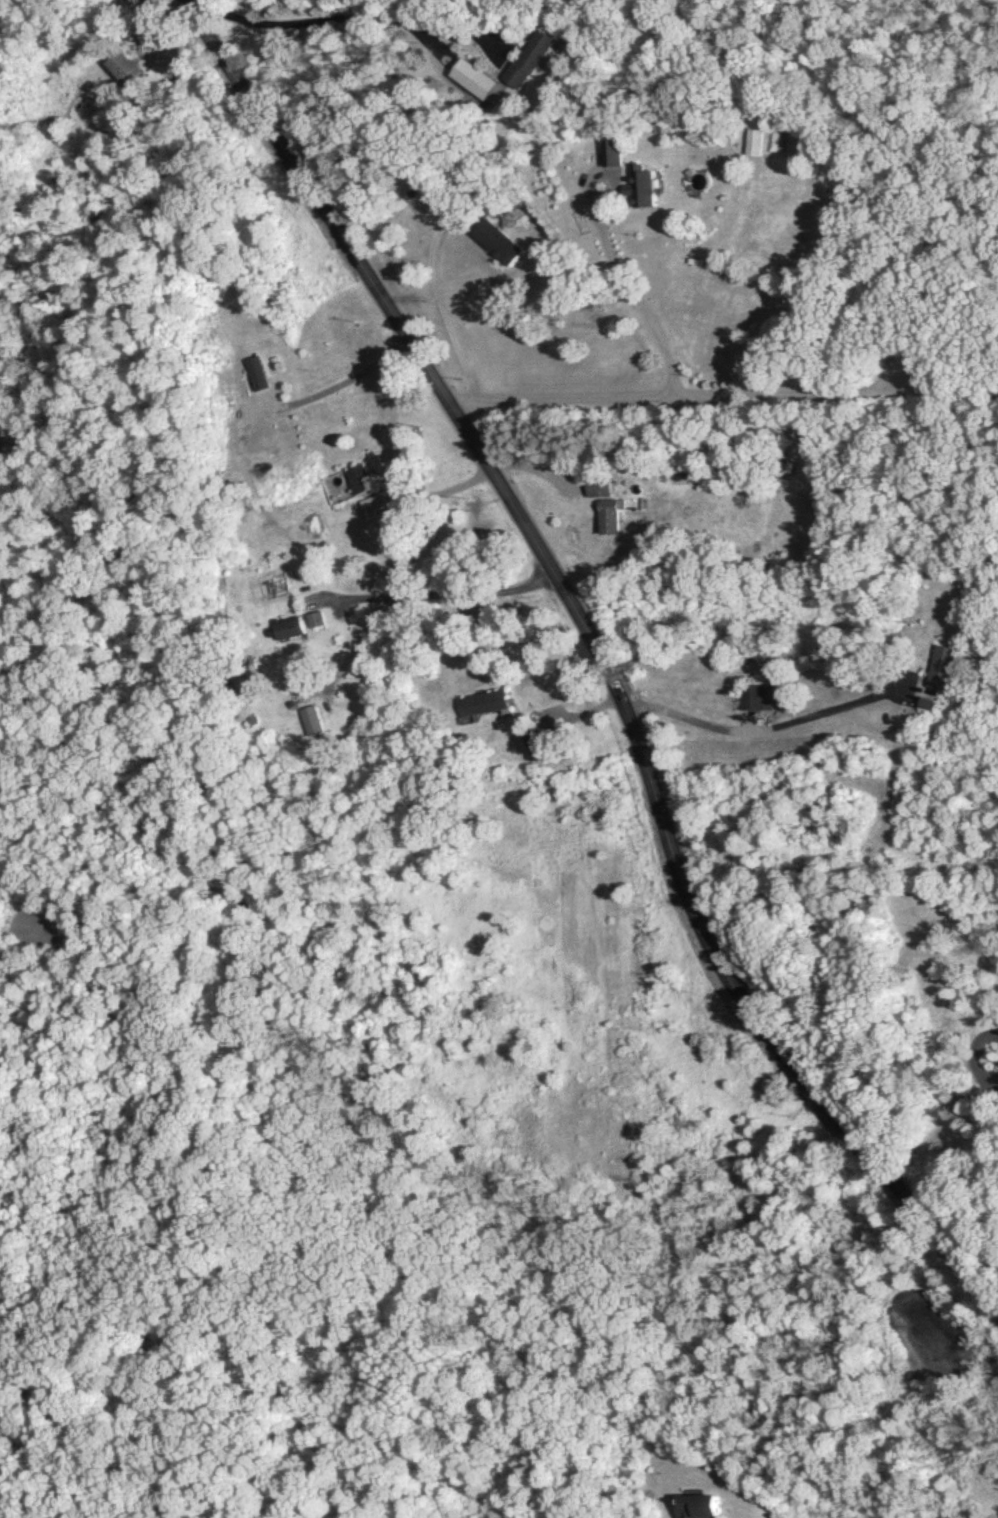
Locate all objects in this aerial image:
road: (352, 21)
building: (530, 61)
building: (122, 71)
building: (472, 83)
building: (609, 157)
building: (637, 191)
building: (98, 212)
building: (495, 247)
road: (637, 303)
road: (447, 321)
building: (273, 338)
building: (253, 375)
road: (345, 384)
road: (724, 403)
building: (232, 443)
building: (357, 484)
building: (597, 491)
building: (373, 511)
building: (608, 520)
road: (417, 599)
building: (315, 625)
building: (288, 633)
road: (598, 653)
building: (941, 673)
building: (755, 702)
building: (296, 705)
building: (481, 708)
building: (312, 725)
road: (754, 731)
road: (990, 1176)
building: (695, 1509)

